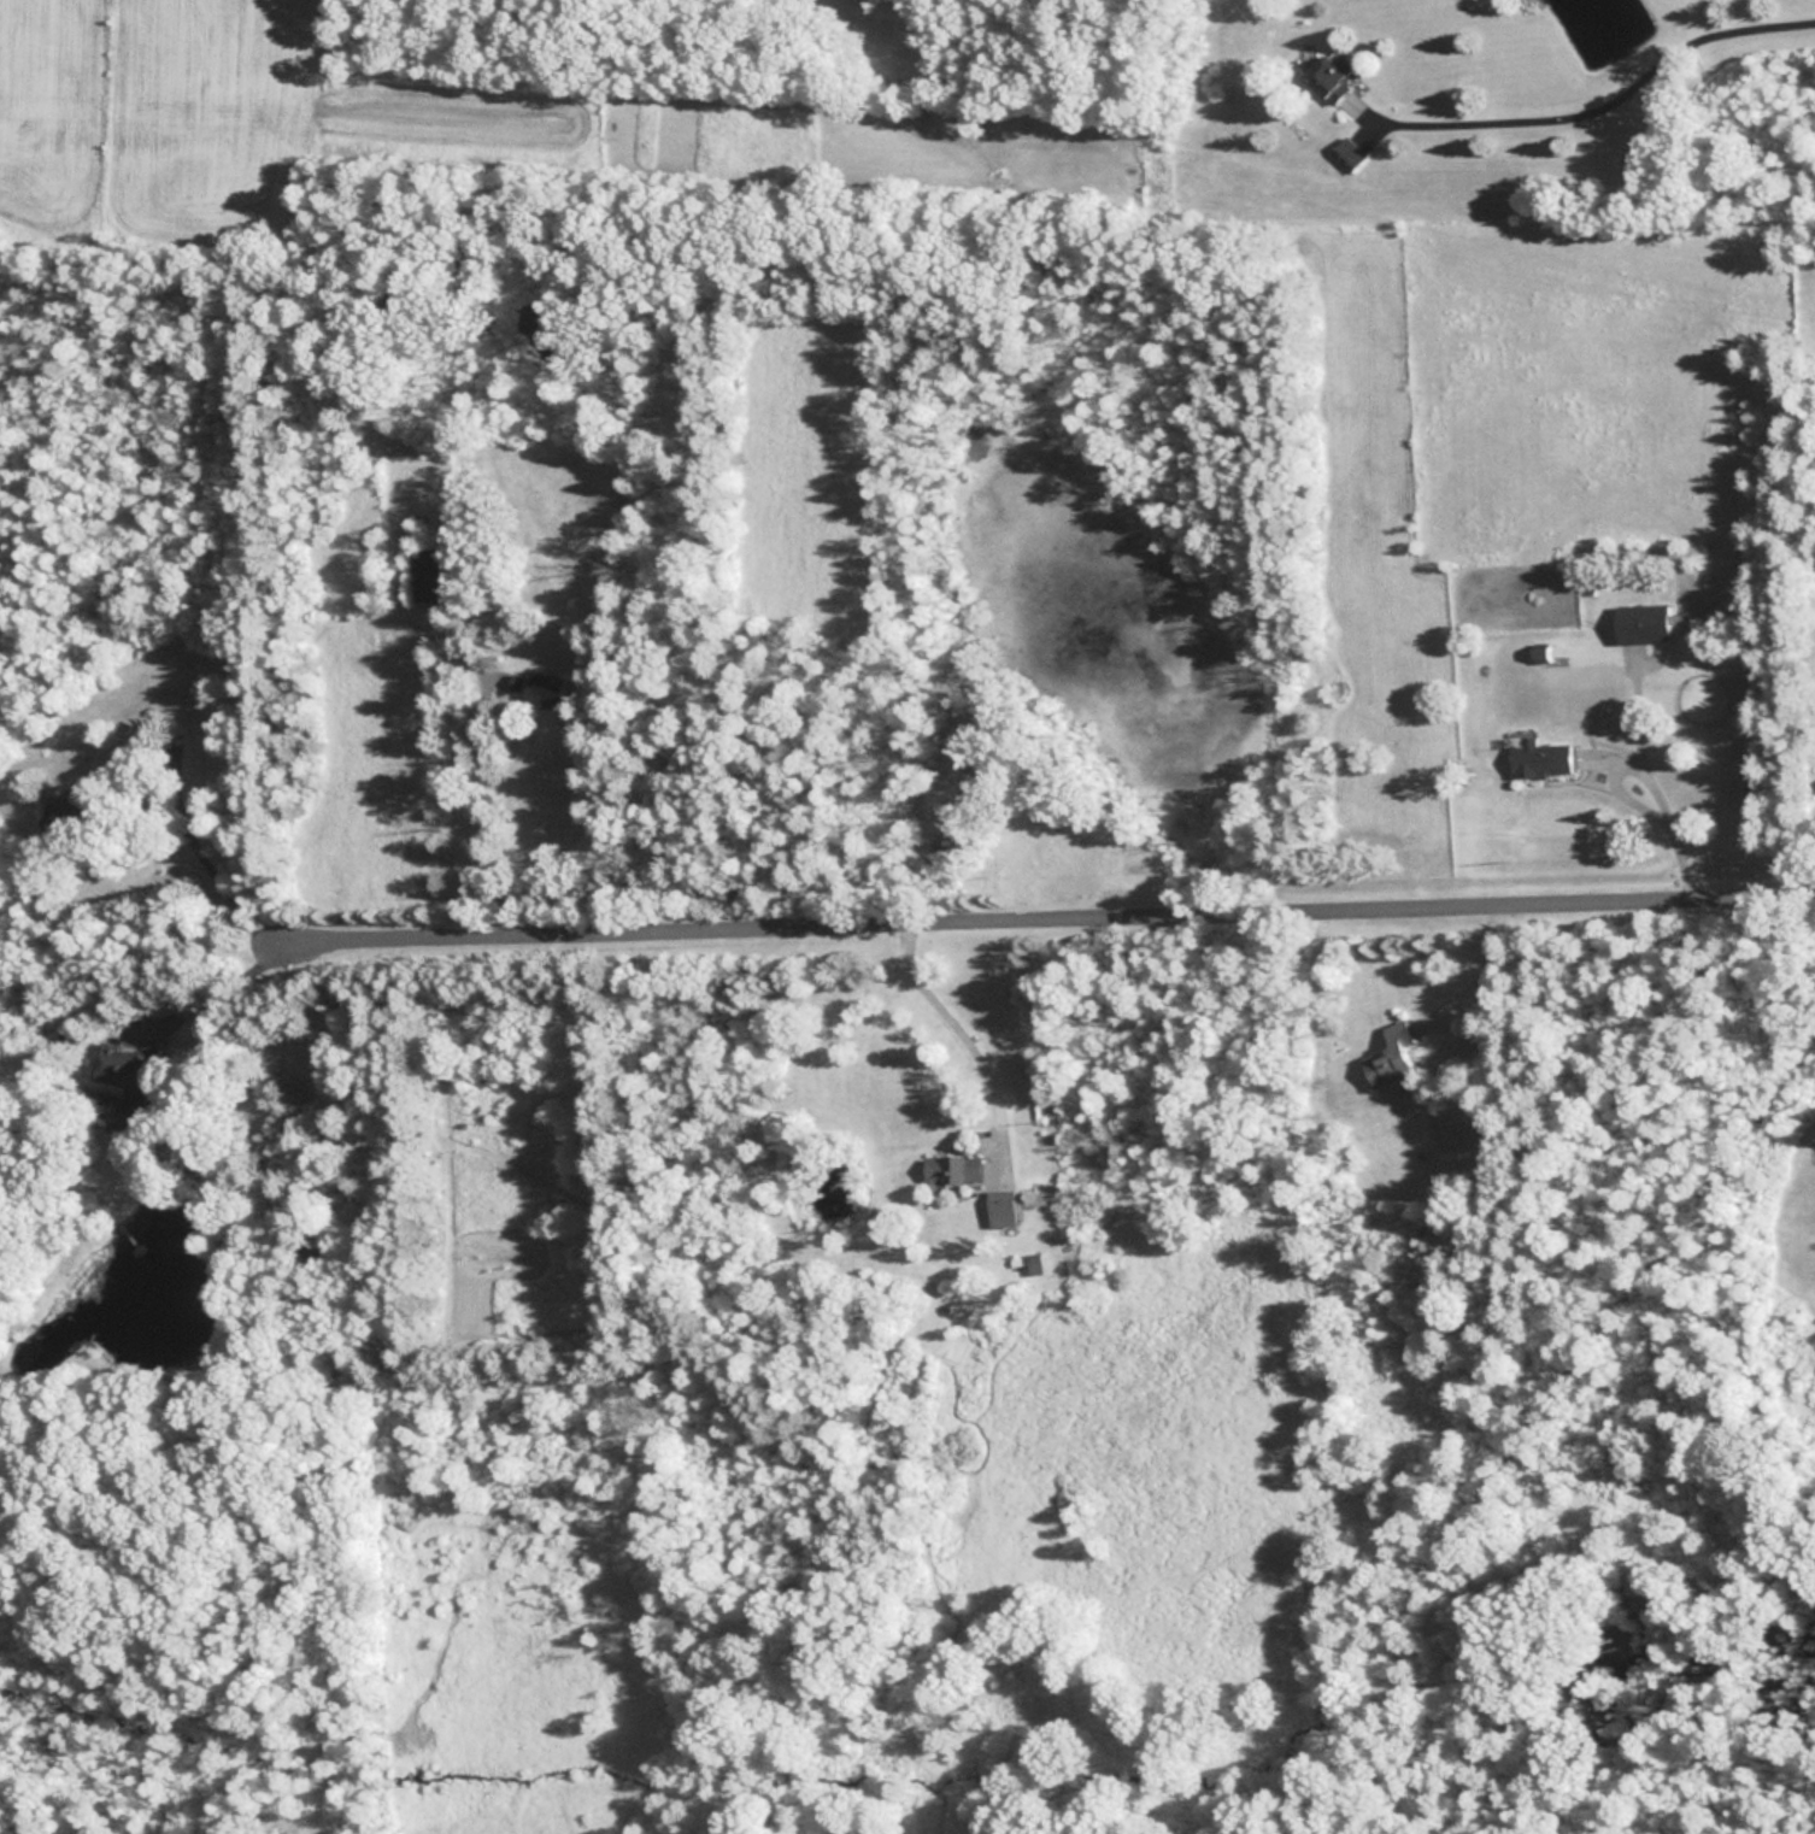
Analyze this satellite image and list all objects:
building: (1329, 70)
building: (430, 574)
building: (1640, 623)
building: (541, 688)
building: (1537, 758)
road: (193, 850)
road: (1036, 913)
road: (957, 1035)
building: (1388, 1057)
building: (123, 1066)
building: (100, 1103)
building: (950, 1166)
building: (1028, 1263)

